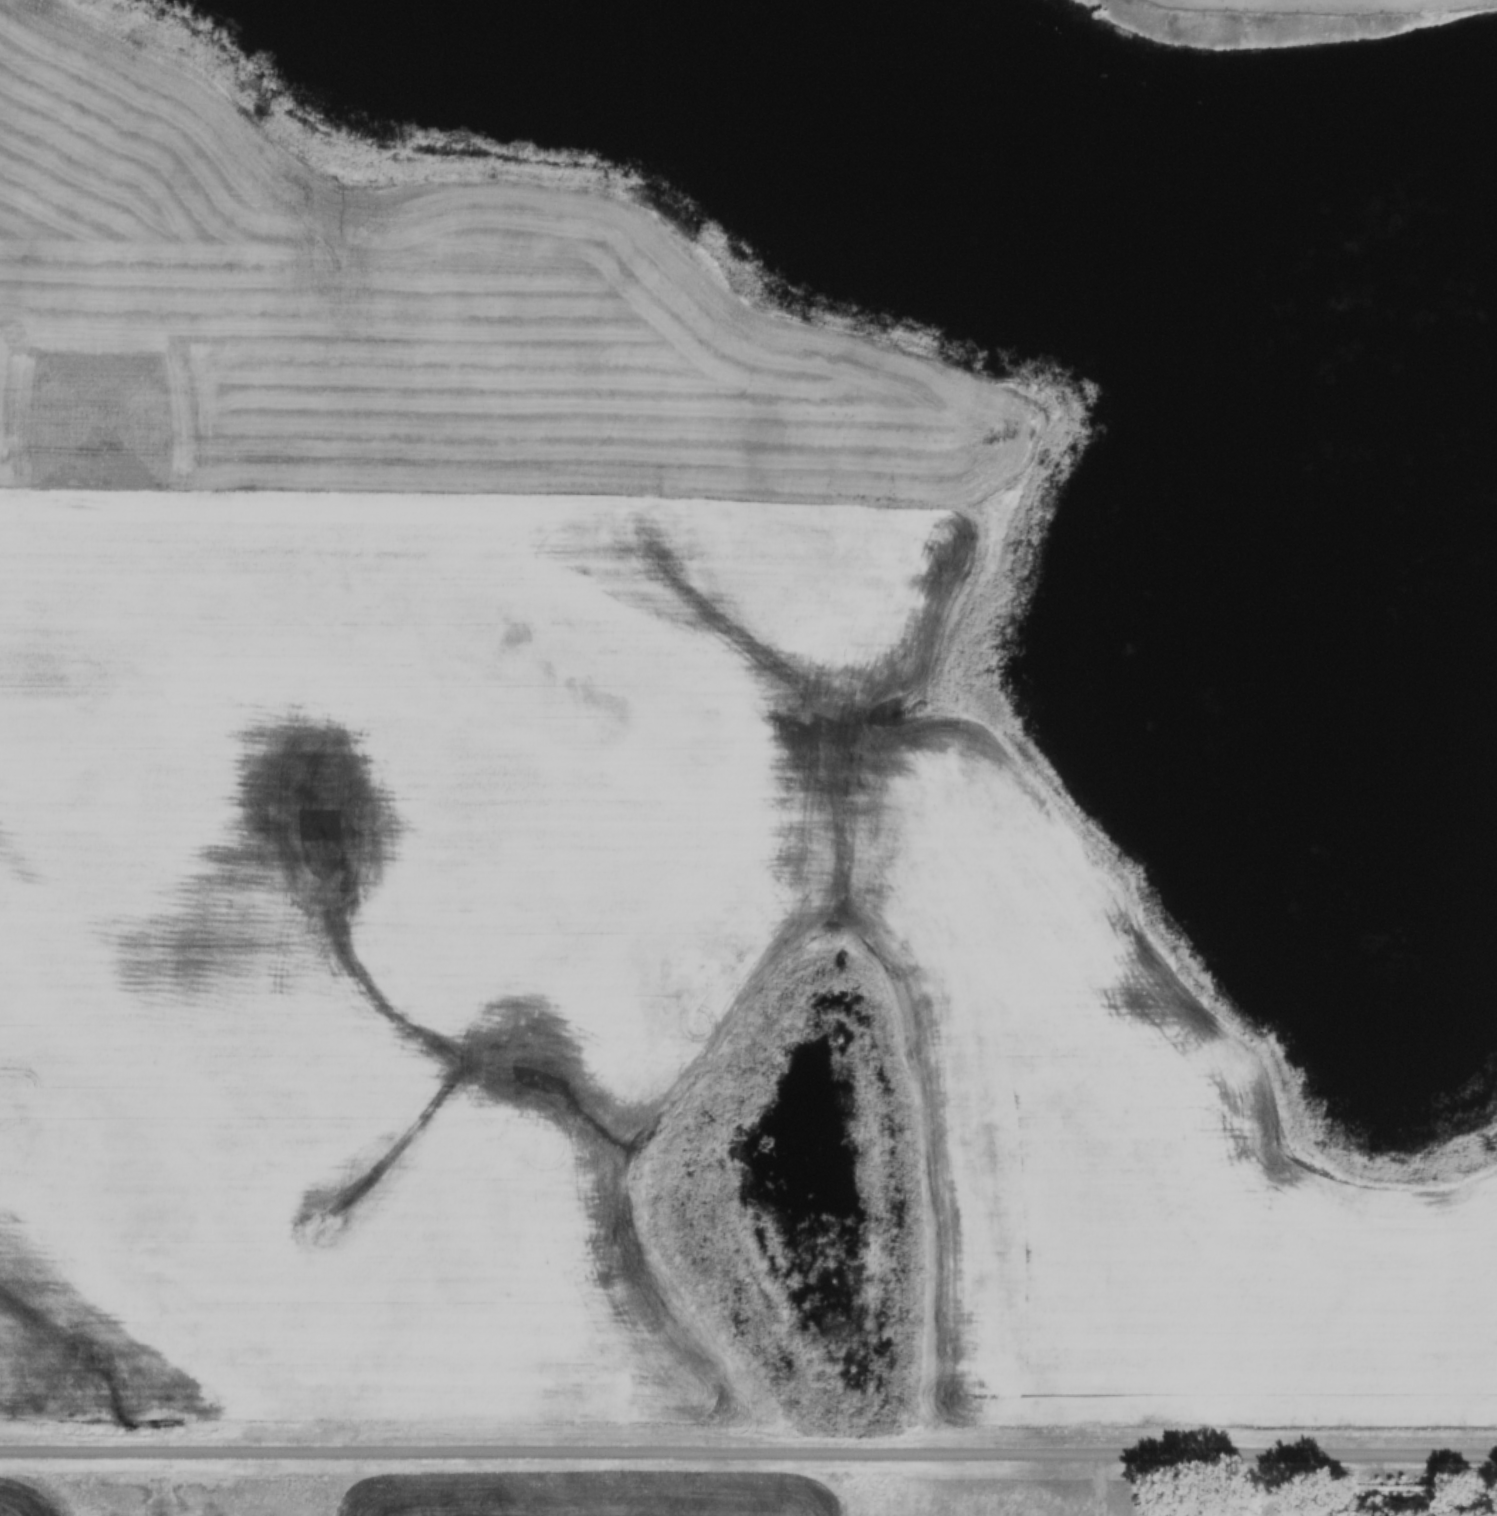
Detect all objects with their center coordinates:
road: (748, 1453)

